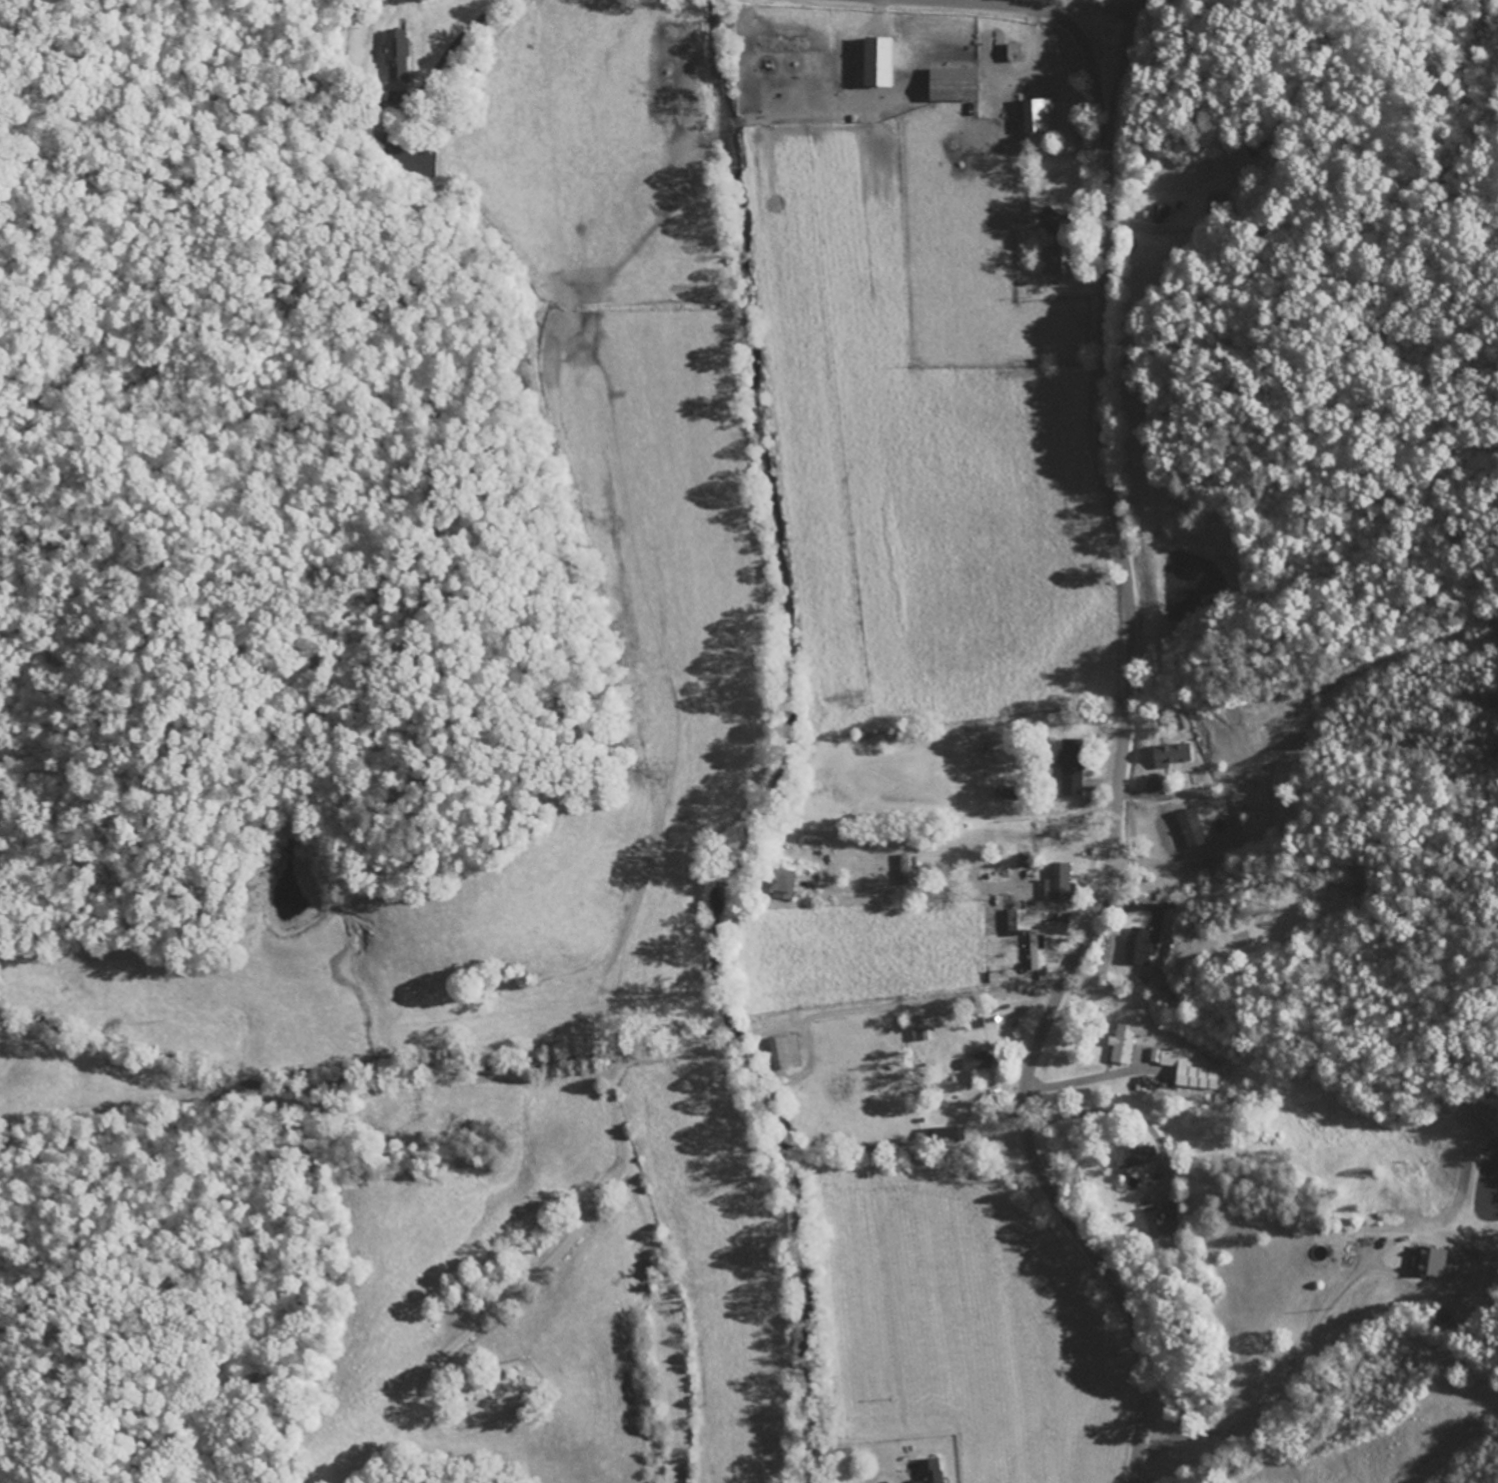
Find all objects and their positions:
road: (1037, 6)
road: (1142, 7)
building: (1019, 54)
road: (1087, 56)
building: (882, 67)
road: (1119, 74)
building: (960, 86)
building: (1043, 117)
road: (1266, 161)
building: (1162, 214)
building: (1029, 221)
building: (1058, 262)
road: (1071, 548)
road: (1055, 572)
building: (1174, 756)
building: (1075, 767)
road: (1112, 831)
building: (907, 871)
building: (1063, 883)
building: (788, 886)
building: (1021, 921)
building: (1142, 948)
building: (1039, 950)
road: (1023, 993)
road: (963, 999)
building: (1128, 1040)
building: (789, 1054)
building: (981, 1062)
building: (1188, 1069)
building: (950, 1136)
building: (1140, 1157)
building: (1172, 1225)
building: (1434, 1262)
road: (1317, 1281)
park: (497, 1390)
building: (934, 1471)

